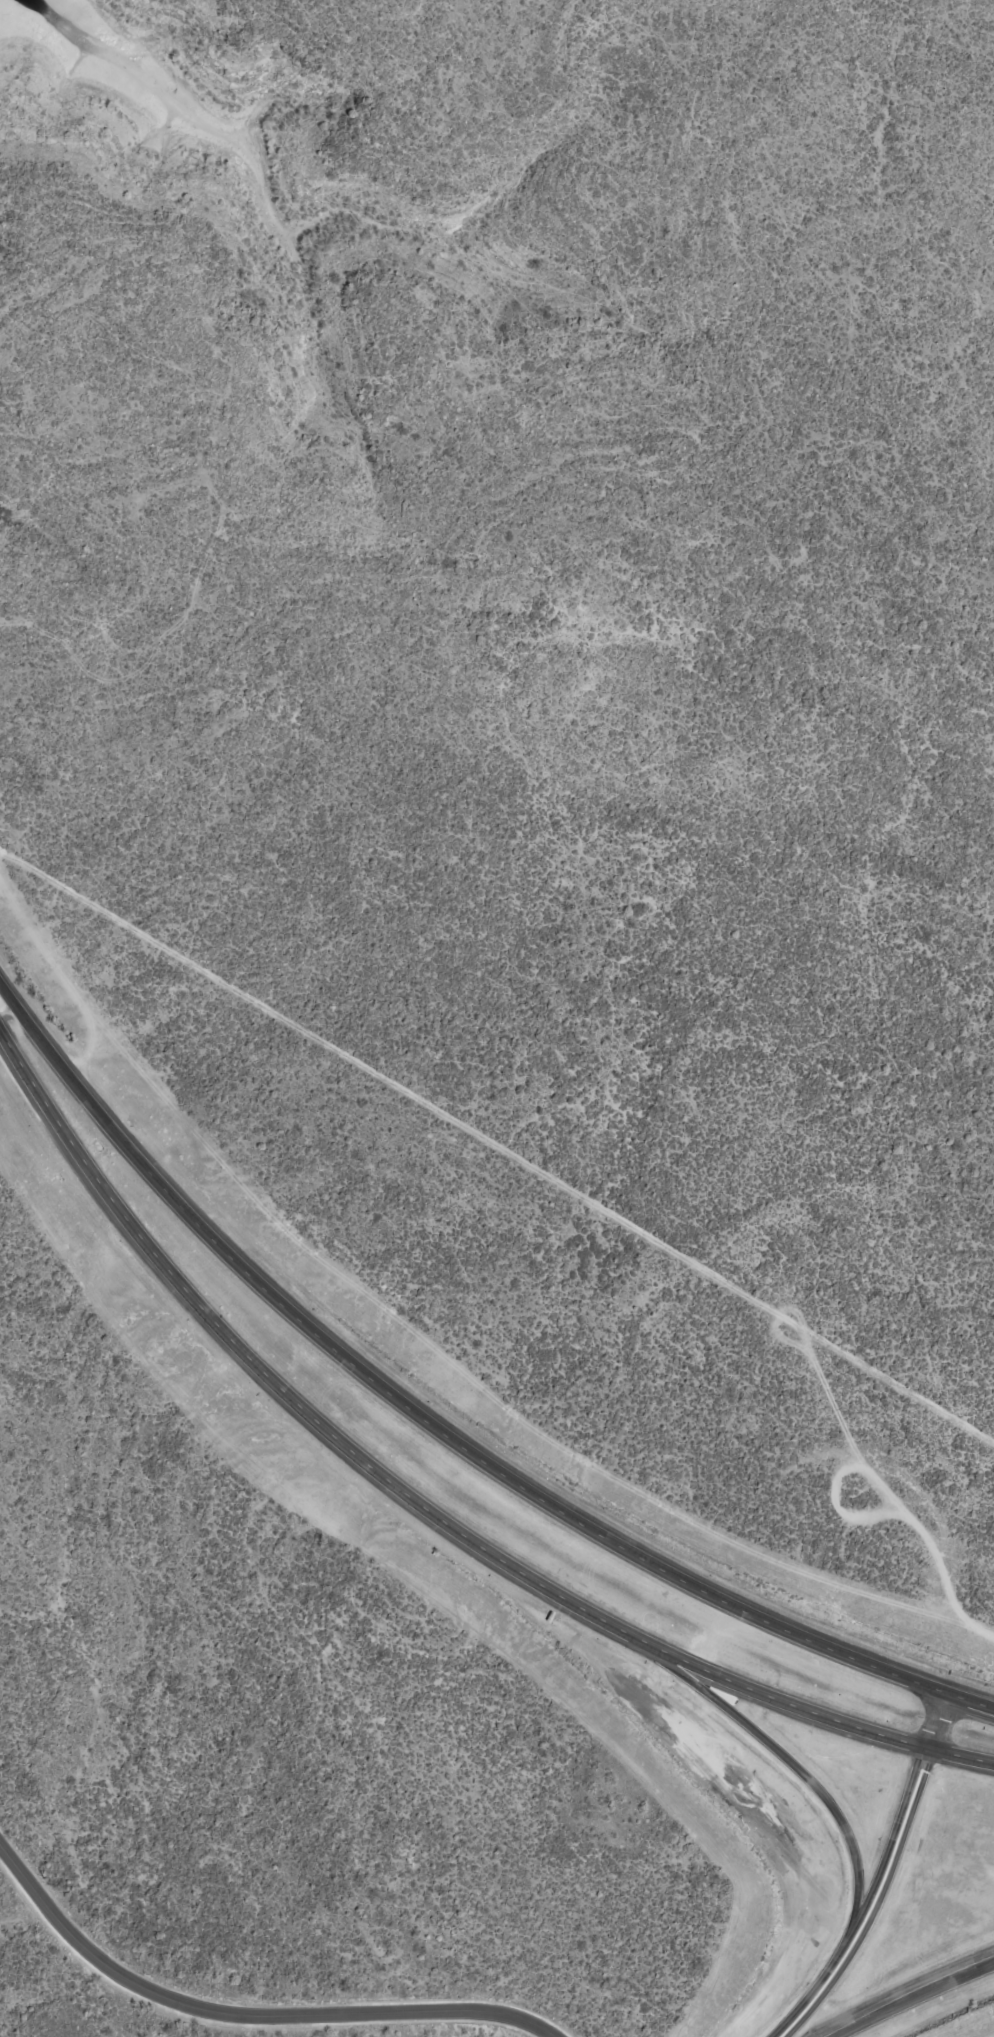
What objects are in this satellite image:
road: (3, 1020)
road: (68, 1063)
road: (527, 1487)
road: (421, 1500)
road: (798, 1761)
road: (886, 1877)
road: (919, 2000)
road: (247, 2017)

